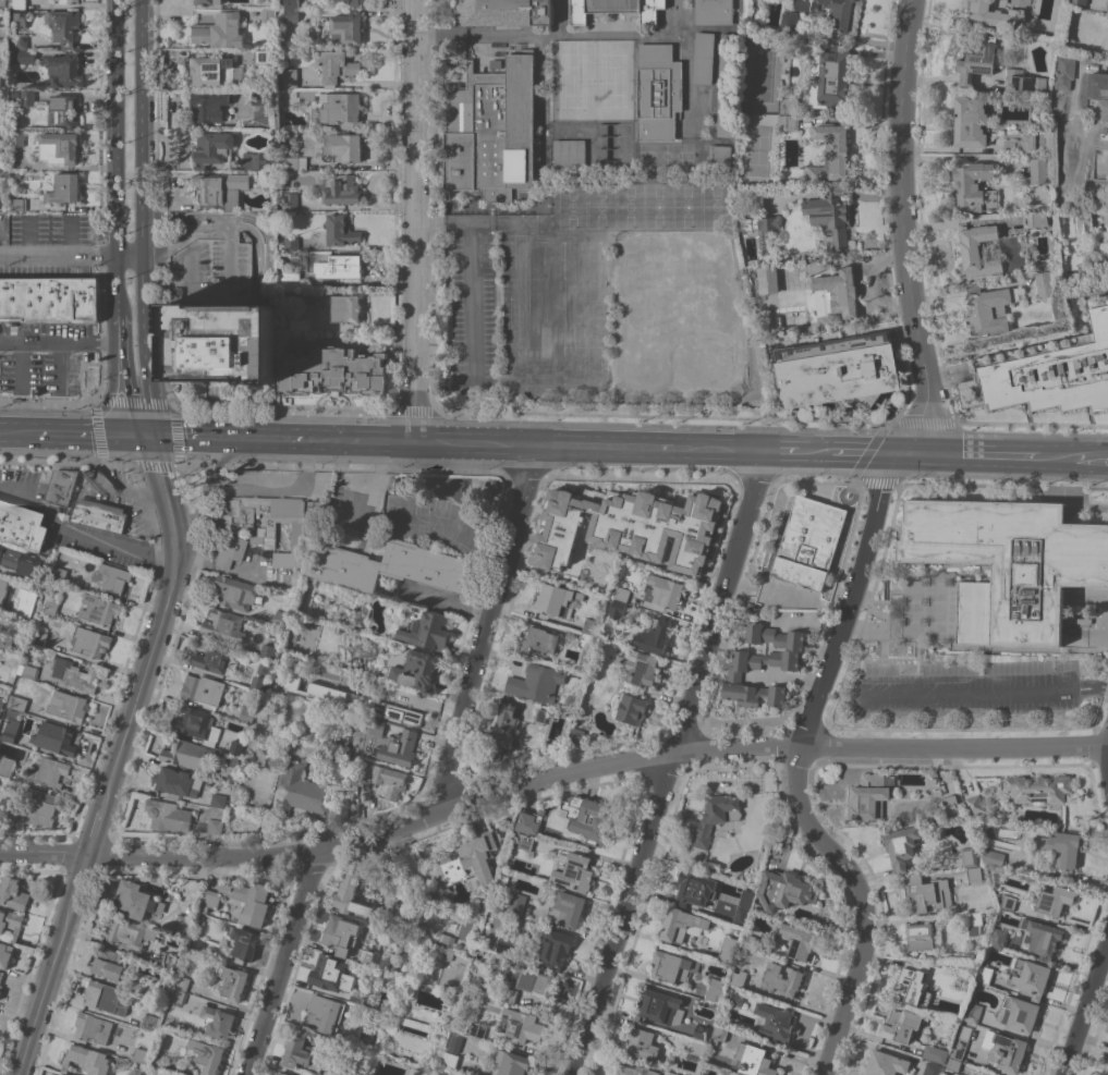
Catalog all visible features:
building: (69, 1)
building: (209, 1)
building: (1081, 1)
building: (2, 2)
building: (1021, 2)
building: (289, 3)
building: (356, 3)
building: (17, 4)
building: (616, 9)
building: (714, 11)
building: (508, 12)
building: (1107, 12)
building: (291, 13)
building: (996, 14)
building: (269, 15)
building: (20, 20)
building: (841, 24)
building: (64, 26)
building: (348, 27)
building: (220, 30)
road: (638, 33)
road: (507, 35)
building: (21, 42)
building: (23, 56)
building: (266, 56)
building: (704, 58)
building: (727, 58)
building: (978, 58)
building: (497, 63)
building: (337, 65)
building: (3, 69)
building: (64, 70)
building: (215, 71)
building: (1066, 71)
building: (830, 76)
building: (290, 77)
building: (0, 80)
building: (1024, 82)
building: (1098, 85)
building: (659, 91)
building: (14, 94)
building: (307, 95)
building: (260, 97)
building: (27, 98)
building: (789, 105)
building: (209, 107)
building: (1062, 107)
building: (66, 109)
building: (342, 109)
building: (0, 110)
building: (728, 113)
building: (792, 122)
building: (971, 122)
road: (117, 127)
road: (146, 127)
building: (492, 131)
building: (17, 139)
building: (1022, 144)
building: (60, 147)
building: (342, 147)
building: (214, 149)
building: (831, 154)
building: (570, 155)
building: (720, 155)
building: (260, 160)
building: (296, 162)
building: (0, 170)
building: (1039, 170)
building: (17, 176)
building: (340, 186)
building: (65, 187)
building: (223, 187)
building: (975, 187)
building: (1067, 193)
building: (0, 200)
building: (291, 201)
building: (19, 204)
building: (830, 217)
road: (229, 219)
building: (1034, 219)
road: (418, 221)
road: (955, 221)
building: (1085, 221)
road: (220, 222)
building: (760, 222)
building: (341, 230)
road: (903, 231)
road: (266, 243)
building: (978, 249)
road: (58, 256)
road: (132, 256)
building: (334, 265)
road: (260, 268)
road: (473, 278)
building: (768, 279)
building: (290, 280)
building: (1047, 283)
road: (115, 284)
building: (840, 292)
building: (50, 298)
building: (343, 307)
building: (988, 309)
building: (300, 323)
building: (224, 342)
road: (57, 343)
road: (149, 346)
road: (21, 366)
road: (60, 367)
building: (334, 370)
building: (839, 370)
building: (1055, 375)
road: (118, 377)
road: (16, 435)
road: (66, 436)
road: (119, 437)
traffic signals: (139, 437)
road: (223, 438)
road: (328, 440)
road: (383, 441)
road: (475, 443)
road: (601, 448)
road: (718, 450)
road: (782, 451)
road: (817, 452)
road: (867, 454)
traffic signals: (900, 455)
road: (966, 456)
road: (1054, 459)
road: (1091, 459)
road: (153, 463)
road: (360, 480)
road: (112, 486)
building: (59, 488)
road: (279, 491)
road: (204, 502)
road: (37, 505)
building: (96, 515)
building: (272, 523)
building: (22, 525)
building: (629, 526)
building: (809, 542)
road: (122, 547)
building: (231, 551)
building: (20, 561)
building: (1008, 562)
building: (390, 565)
building: (60, 574)
building: (113, 577)
building: (2, 588)
building: (665, 590)
building: (236, 591)
building: (622, 594)
building: (318, 597)
building: (558, 600)
building: (52, 604)
building: (100, 609)
building: (618, 609)
building: (281, 619)
building: (1081, 620)
building: (224, 625)
building: (589, 625)
road: (487, 627)
building: (429, 628)
building: (655, 634)
building: (39, 637)
building: (585, 639)
building: (537, 640)
building: (90, 642)
road: (155, 648)
building: (267, 650)
building: (212, 657)
building: (746, 664)
building: (642, 668)
building: (418, 670)
building: (28, 671)
building: (3, 673)
building: (76, 674)
building: (537, 682)
building: (257, 683)
building: (204, 688)
parking lot: (969, 693)
road: (988, 693)
building: (353, 699)
building: (1, 701)
building: (19, 703)
building: (69, 706)
building: (410, 707)
building: (631, 707)
building: (247, 714)
building: (540, 716)
building: (194, 721)
building: (378, 728)
building: (11, 730)
building: (502, 733)
building: (576, 735)
building: (56, 737)
building: (236, 747)
building: (401, 748)
building: (186, 754)
building: (233, 760)
road: (672, 764)
building: (7, 766)
road: (592, 767)
road: (796, 769)
building: (48, 771)
building: (228, 773)
building: (383, 780)
building: (178, 783)
building: (1038, 787)
building: (299, 791)
building: (870, 795)
building: (220, 799)
building: (975, 804)
building: (952, 806)
building: (38, 807)
building: (170, 815)
building: (588, 817)
building: (714, 817)
building: (531, 821)
building: (199, 826)
building: (216, 826)
road: (95, 829)
building: (526, 842)
building: (902, 845)
building: (1062, 851)
road: (42, 852)
building: (970, 856)
building: (993, 856)
building: (464, 863)
building: (575, 872)
building: (975, 874)
road: (80, 876)
building: (504, 881)
building: (695, 889)
building: (784, 890)
building: (929, 892)
building: (13, 893)
building: (345, 895)
building: (138, 900)
building: (210, 900)
building: (1055, 900)
building: (251, 901)
building: (1008, 902)
building: (516, 904)
building: (568, 908)
building: (741, 914)
building: (200, 917)
building: (974, 921)
building: (11, 923)
building: (184, 923)
building: (681, 924)
building: (130, 932)
building: (341, 933)
building: (920, 936)
building: (445, 938)
building: (999, 938)
building: (1045, 939)
building: (799, 940)
building: (751, 941)
building: (244, 942)
building: (196, 944)
building: (506, 944)
building: (474, 945)
building: (553, 946)
building: (728, 949)
building: (462, 950)
building: (447, 953)
building: (5, 954)
building: (365, 956)
building: (169, 962)
road: (284, 963)
building: (109, 964)
building: (673, 966)
building: (965, 970)
building: (332, 973)
building: (985, 974)
building: (1032, 977)
building: (739, 978)
building: (783, 979)
building: (233, 981)
building: (914, 981)
building: (1, 982)
building: (181, 982)
building: (529, 985)
road: (45, 987)
building: (716, 990)
building: (163, 991)
building: (356, 991)
building: (0, 994)
building: (178, 995)
building: (107, 997)
building: (734, 997)
building: (660, 1006)
road: (1086, 1009)
building: (972, 1011)
building: (326, 1013)
building: (1021, 1013)
building: (151, 1022)
building: (218, 1022)
building: (776, 1023)
building: (522, 1025)
building: (901, 1025)
building: (94, 1028)
building: (478, 1029)
building: (703, 1033)
building: (719, 1036)
building: (328, 1041)
building: (454, 1041)
building: (643, 1045)
building: (698, 1047)
building: (959, 1048)
building: (1006, 1050)
building: (303, 1052)
building: (936, 1053)
building: (139, 1054)
building: (206, 1056)
building: (450, 1059)
building: (88, 1060)
building: (160, 1060)
building: (757, 1062)
building: (886, 1063)
building: (512, 1064)
building: (953, 1065)
building: (933, 1068)
building: (636, 1071)
building: (328, 1072)
building: (283, 1073)
building: (1107, 1073)
building: (59, 1074)
building: (61, 1074)
building: (171, 1074)

